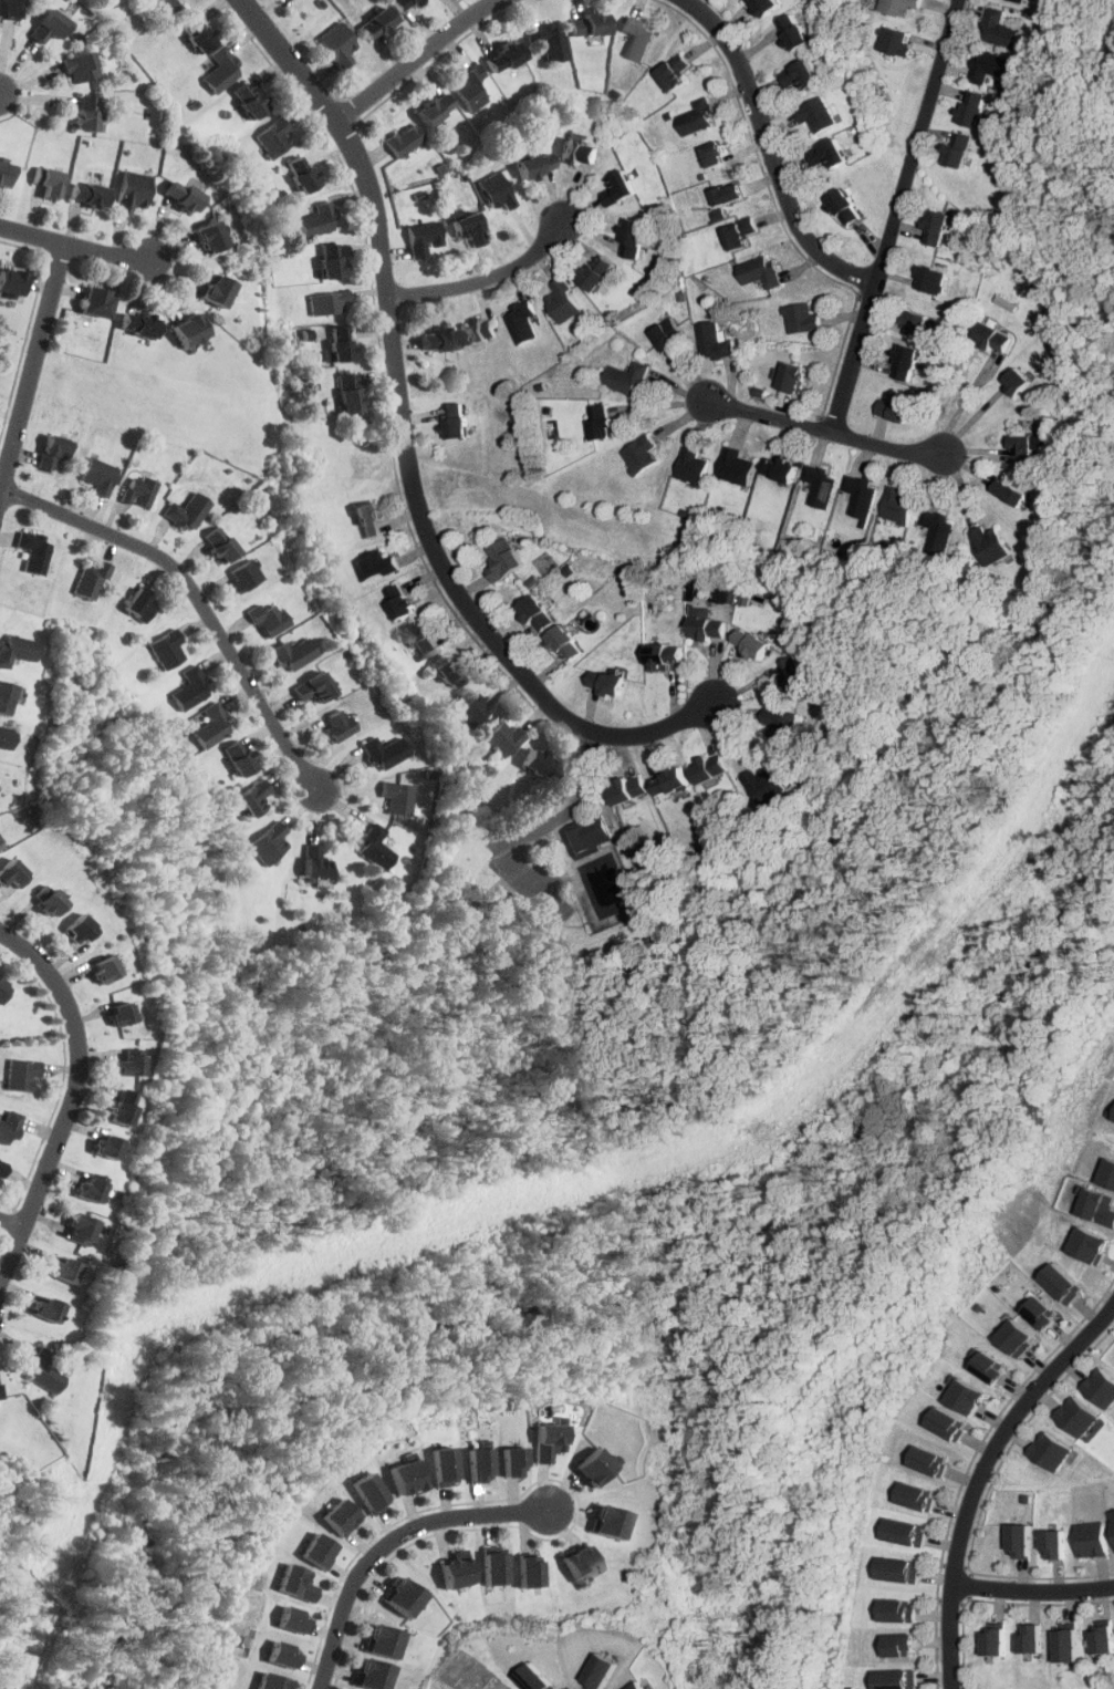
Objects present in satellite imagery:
building: (1020, 1)
building: (405, 4)
building: (900, 6)
building: (767, 7)
building: (10, 8)
building: (164, 8)
building: (378, 23)
building: (590, 24)
building: (51, 25)
building: (1000, 29)
building: (198, 32)
building: (797, 32)
building: (637, 37)
building: (548, 41)
building: (895, 41)
building: (337, 43)
building: (504, 56)
road: (415, 60)
building: (81, 66)
building: (991, 66)
building: (221, 69)
building: (675, 72)
building: (801, 75)
building: (469, 87)
road: (1, 90)
building: (249, 99)
building: (976, 107)
building: (435, 108)
building: (86, 112)
building: (816, 114)
building: (697, 117)
road: (347, 133)
building: (273, 137)
building: (403, 139)
road: (769, 149)
building: (961, 149)
building: (579, 152)
building: (716, 153)
building: (829, 154)
building: (535, 164)
building: (6, 173)
building: (303, 173)
building: (49, 180)
building: (620, 188)
building: (497, 190)
building: (132, 191)
building: (89, 194)
building: (730, 194)
building: (183, 195)
building: (848, 207)
road: (894, 215)
building: (317, 220)
building: (470, 228)
building: (938, 228)
building: (740, 232)
building: (211, 237)
building: (423, 238)
building: (635, 238)
road: (76, 241)
building: (332, 260)
building: (760, 270)
building: (600, 272)
road: (486, 279)
building: (929, 279)
building: (12, 280)
building: (219, 290)
building: (97, 301)
building: (564, 301)
building: (326, 302)
building: (801, 319)
building: (522, 322)
building: (918, 323)
building: (139, 324)
building: (191, 330)
building: (480, 331)
building: (668, 335)
building: (995, 336)
building: (439, 340)
building: (714, 341)
building: (342, 343)
road: (30, 359)
building: (908, 362)
building: (795, 377)
building: (628, 379)
building: (1019, 381)
building: (350, 393)
building: (897, 407)
building: (458, 421)
building: (604, 422)
road: (822, 428)
building: (1024, 446)
building: (53, 452)
building: (641, 454)
building: (691, 467)
building: (736, 467)
building: (781, 469)
building: (97, 475)
building: (821, 486)
building: (138, 490)
building: (1012, 493)
building: (861, 495)
building: (898, 506)
building: (188, 510)
building: (369, 519)
building: (939, 529)
building: (220, 545)
building: (991, 545)
building: (34, 550)
building: (506, 558)
building: (376, 566)
building: (243, 576)
building: (91, 580)
building: (718, 594)
road: (461, 599)
road: (198, 600)
building: (402, 600)
building: (140, 605)
building: (538, 613)
building: (269, 618)
building: (707, 628)
building: (423, 639)
building: (569, 642)
building: (753, 644)
building: (15, 647)
building: (167, 647)
building: (293, 653)
building: (666, 653)
building: (451, 670)
building: (795, 675)
building: (608, 681)
building: (314, 686)
building: (190, 688)
building: (7, 695)
building: (473, 708)
building: (339, 723)
building: (211, 725)
building: (782, 726)
building: (7, 736)
building: (502, 737)
building: (385, 752)
building: (241, 756)
building: (540, 764)
building: (712, 767)
building: (674, 779)
building: (766, 785)
building: (631, 788)
building: (397, 797)
building: (253, 798)
building: (586, 832)
building: (269, 842)
building: (374, 847)
building: (315, 861)
building: (12, 871)
building: (50, 898)
building: (82, 928)
building: (106, 967)
building: (3, 986)
building: (124, 1012)
building: (131, 1064)
building: (22, 1073)
road: (69, 1096)
building: (124, 1106)
building: (10, 1127)
building: (108, 1146)
building: (2, 1171)
building: (1111, 1174)
building: (91, 1189)
building: (1101, 1205)
road: (12, 1217)
building: (82, 1227)
building: (1093, 1244)
building: (65, 1270)
building: (1063, 1283)
building: (48, 1308)
building: (1042, 1313)
building: (1017, 1337)
building: (990, 1367)
building: (44, 1371)
building: (1100, 1388)
building: (1, 1391)
building: (967, 1395)
building: (1075, 1416)
building: (950, 1423)
building: (544, 1440)
building: (1050, 1451)
building: (508, 1461)
building: (933, 1461)
building: (476, 1464)
building: (593, 1464)
building: (439, 1465)
road: (979, 1474)
building: (403, 1476)
building: (367, 1492)
building: (919, 1496)
building: (337, 1516)
building: (607, 1521)
building: (1113, 1523)
building: (908, 1532)
building: (1091, 1538)
road: (385, 1540)
building: (1019, 1540)
building: (1053, 1544)
building: (315, 1550)
building: (580, 1562)
building: (492, 1564)
building: (900, 1568)
building: (454, 1569)
building: (528, 1571)
building: (292, 1582)
road: (1032, 1593)
building: (402, 1596)
building: (900, 1609)
building: (288, 1619)
building: (1102, 1637)
building: (1030, 1639)
building: (382, 1640)
building: (995, 1640)
building: (1065, 1644)
building: (903, 1645)
building: (278, 1654)
building: (602, 1671)
building: (372, 1674)
building: (537, 1677)
building: (899, 1679)
building: (268, 1681)
building: (642, 1687)

